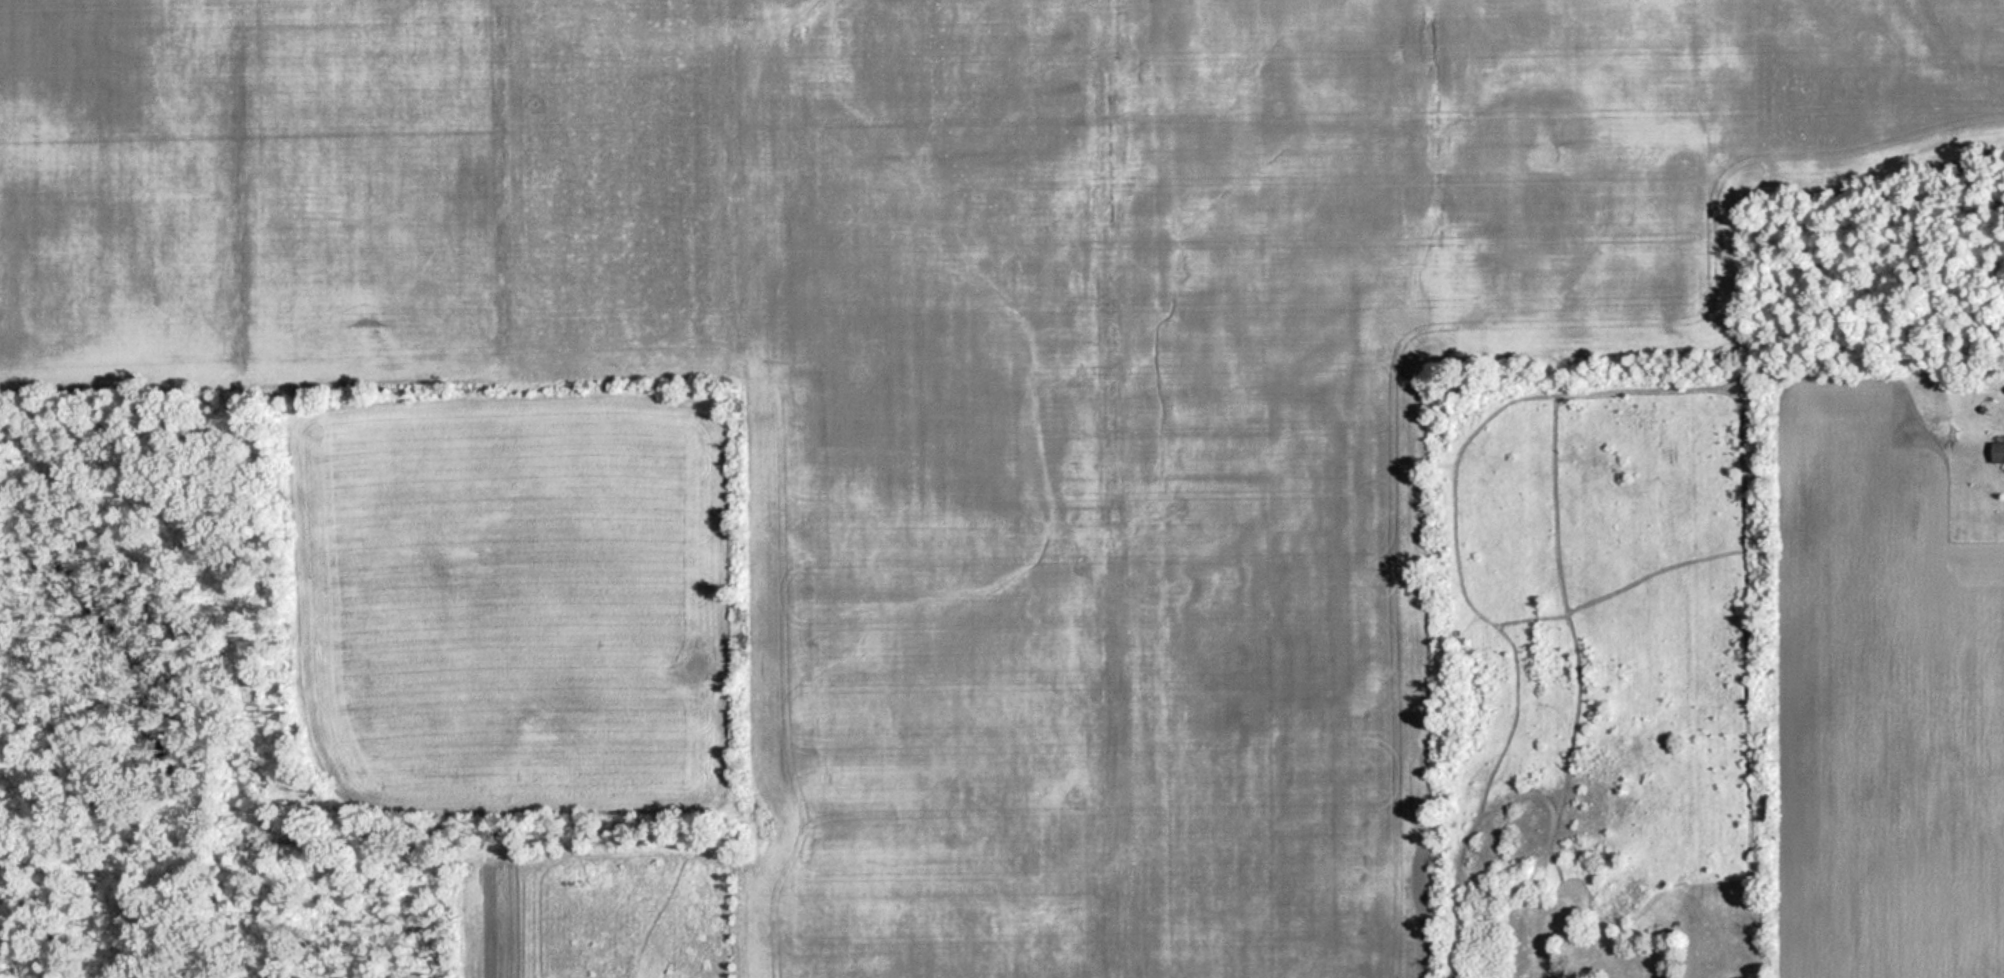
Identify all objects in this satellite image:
building: (2001, 452)

